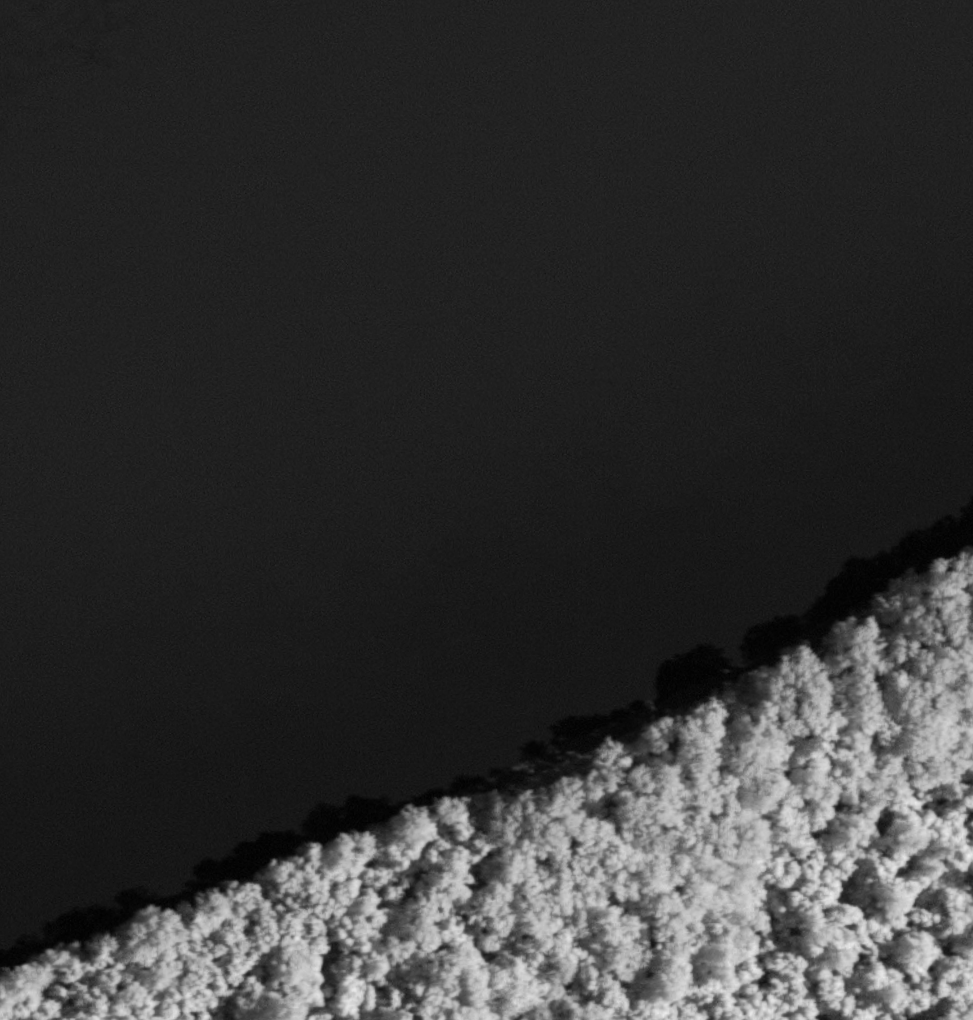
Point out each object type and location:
river: (486, 273)

